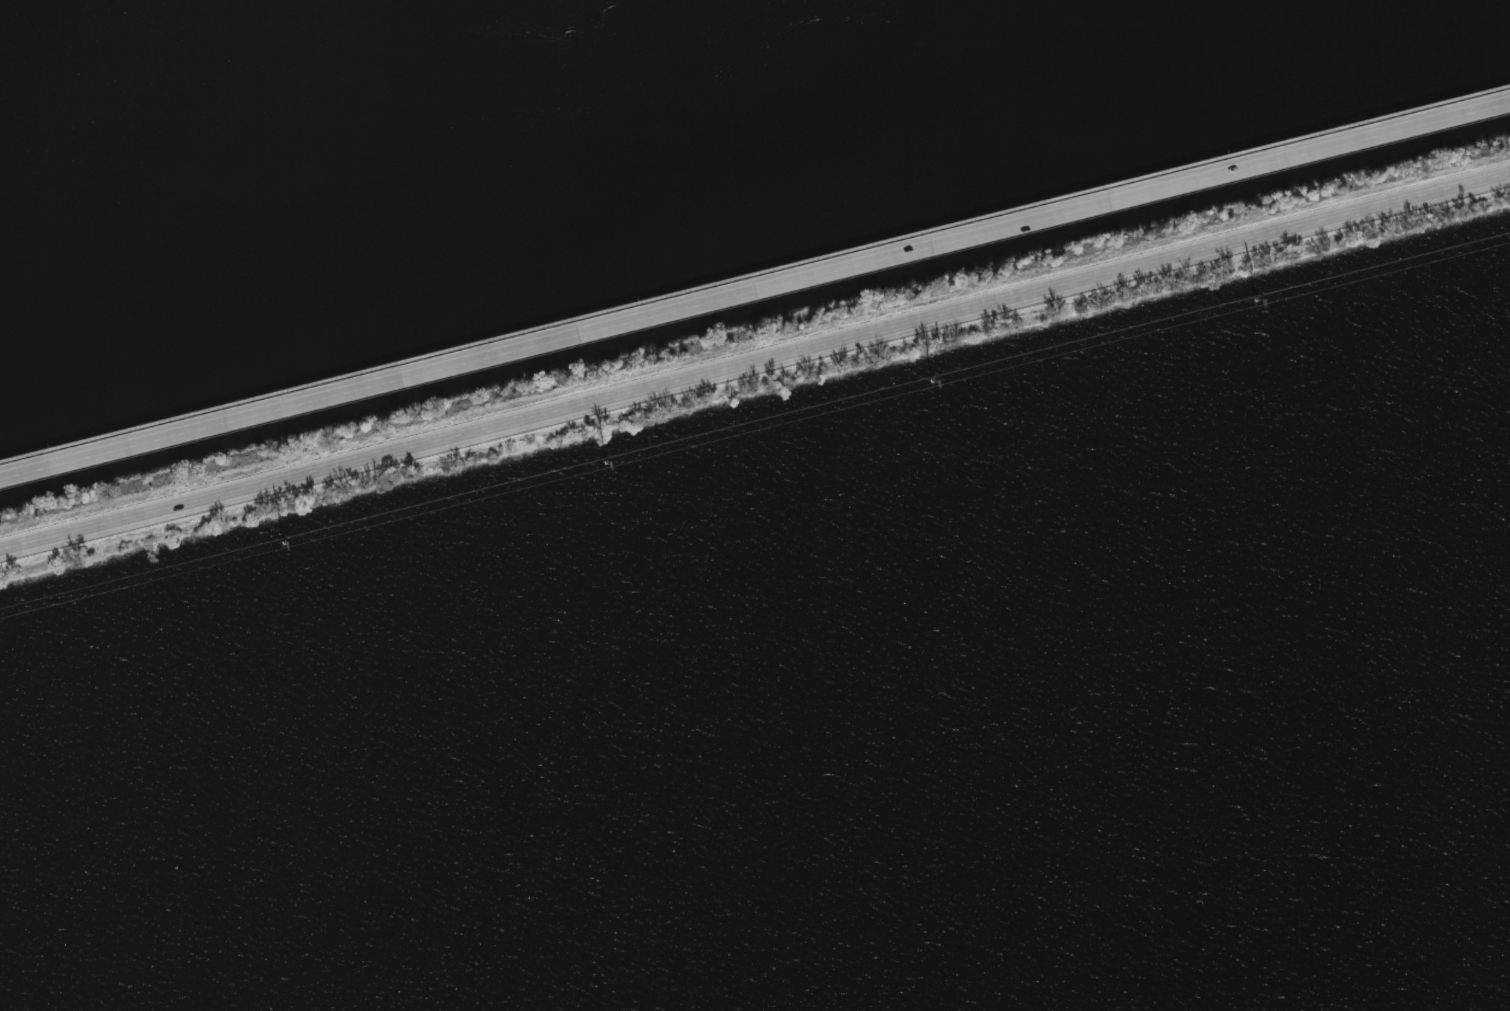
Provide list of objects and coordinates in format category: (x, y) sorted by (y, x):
road: (755, 277)
road: (754, 288)
power tower: (1258, 301)
road: (755, 358)
power tower: (934, 382)
power tower: (606, 465)
power tower: (283, 545)

